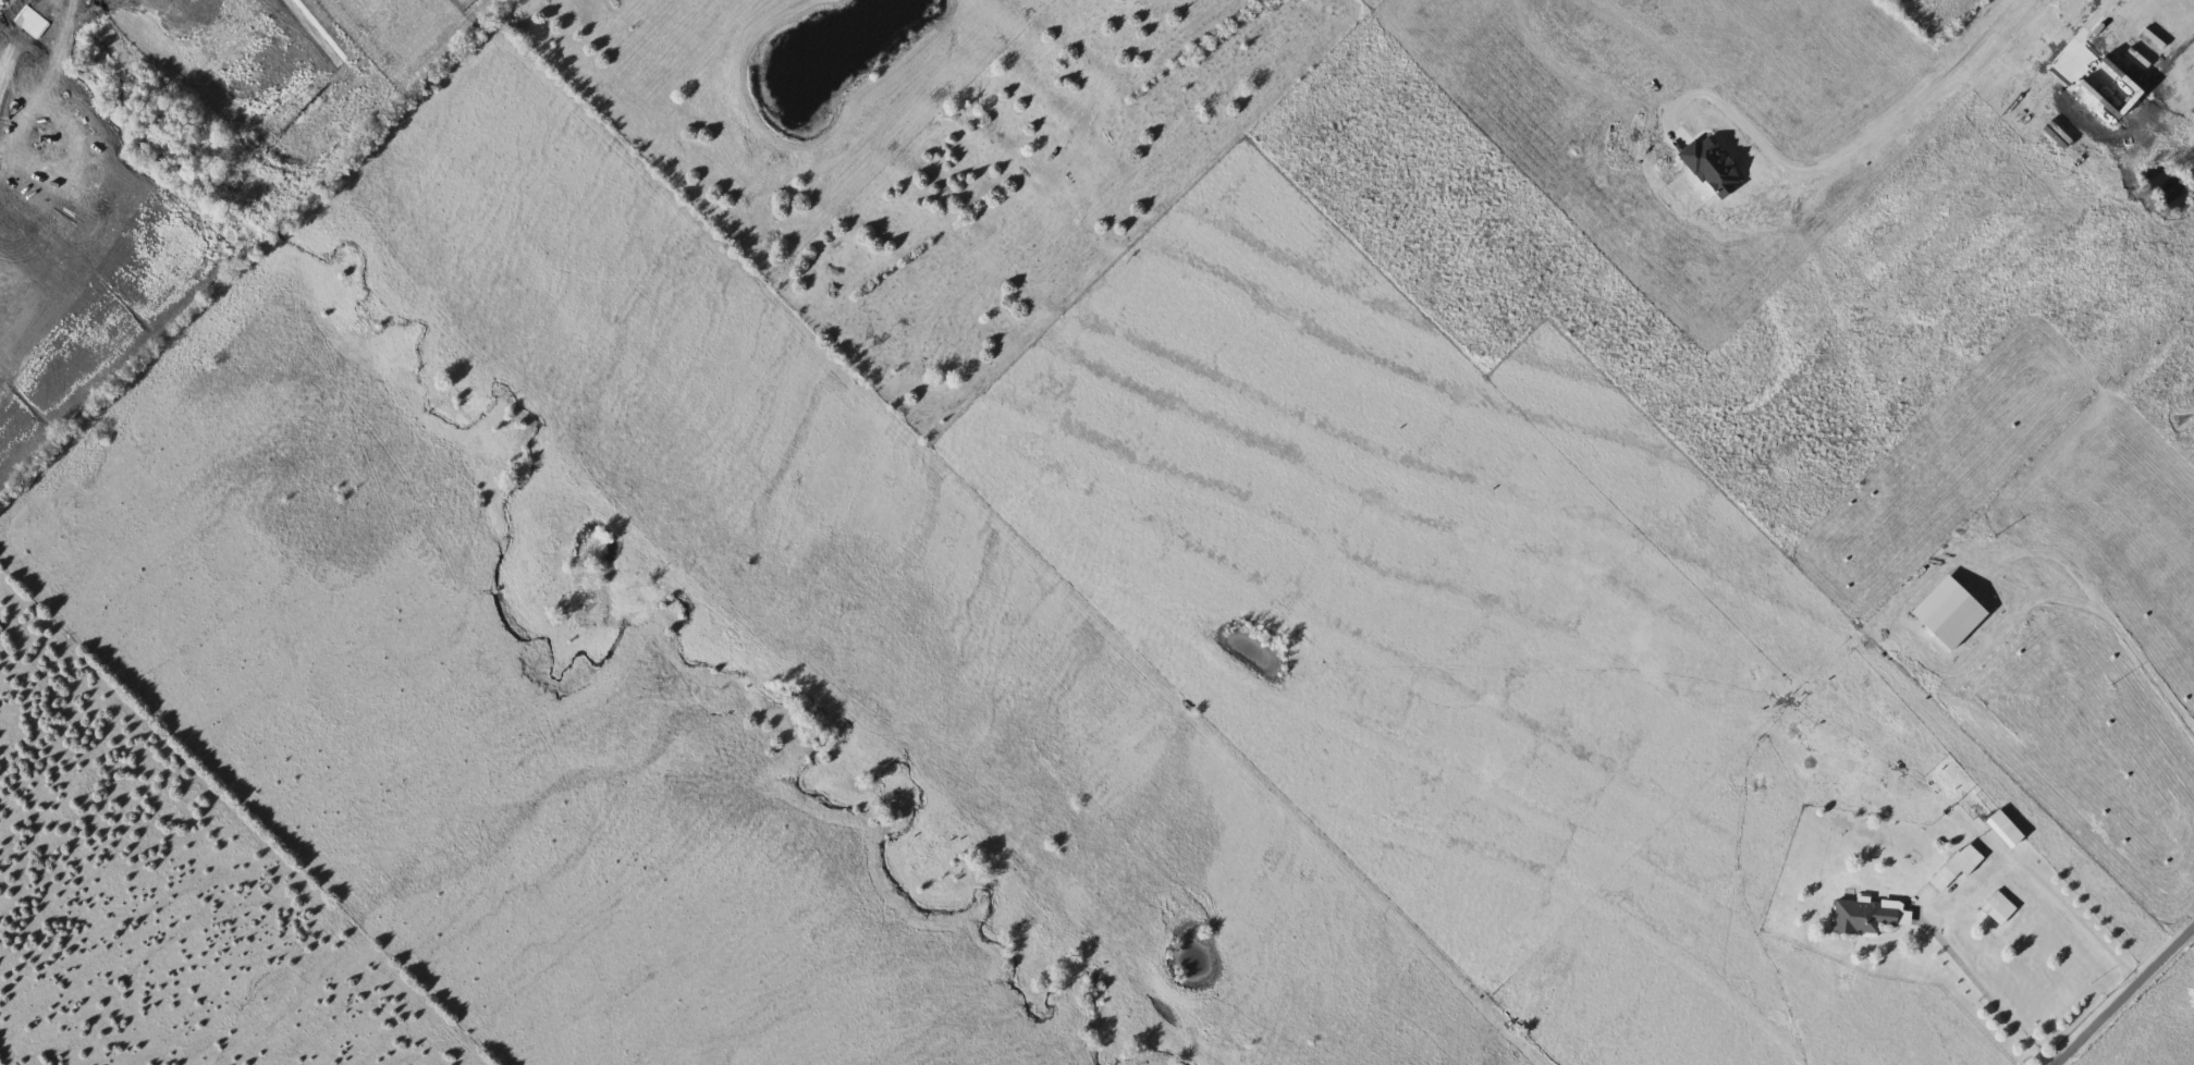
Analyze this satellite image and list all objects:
road: (2091, 22)
road: (1912, 105)
building: (2008, 830)
building: (1960, 867)
building: (2001, 909)
building: (1870, 917)
road: (2123, 993)
road: (1988, 994)

